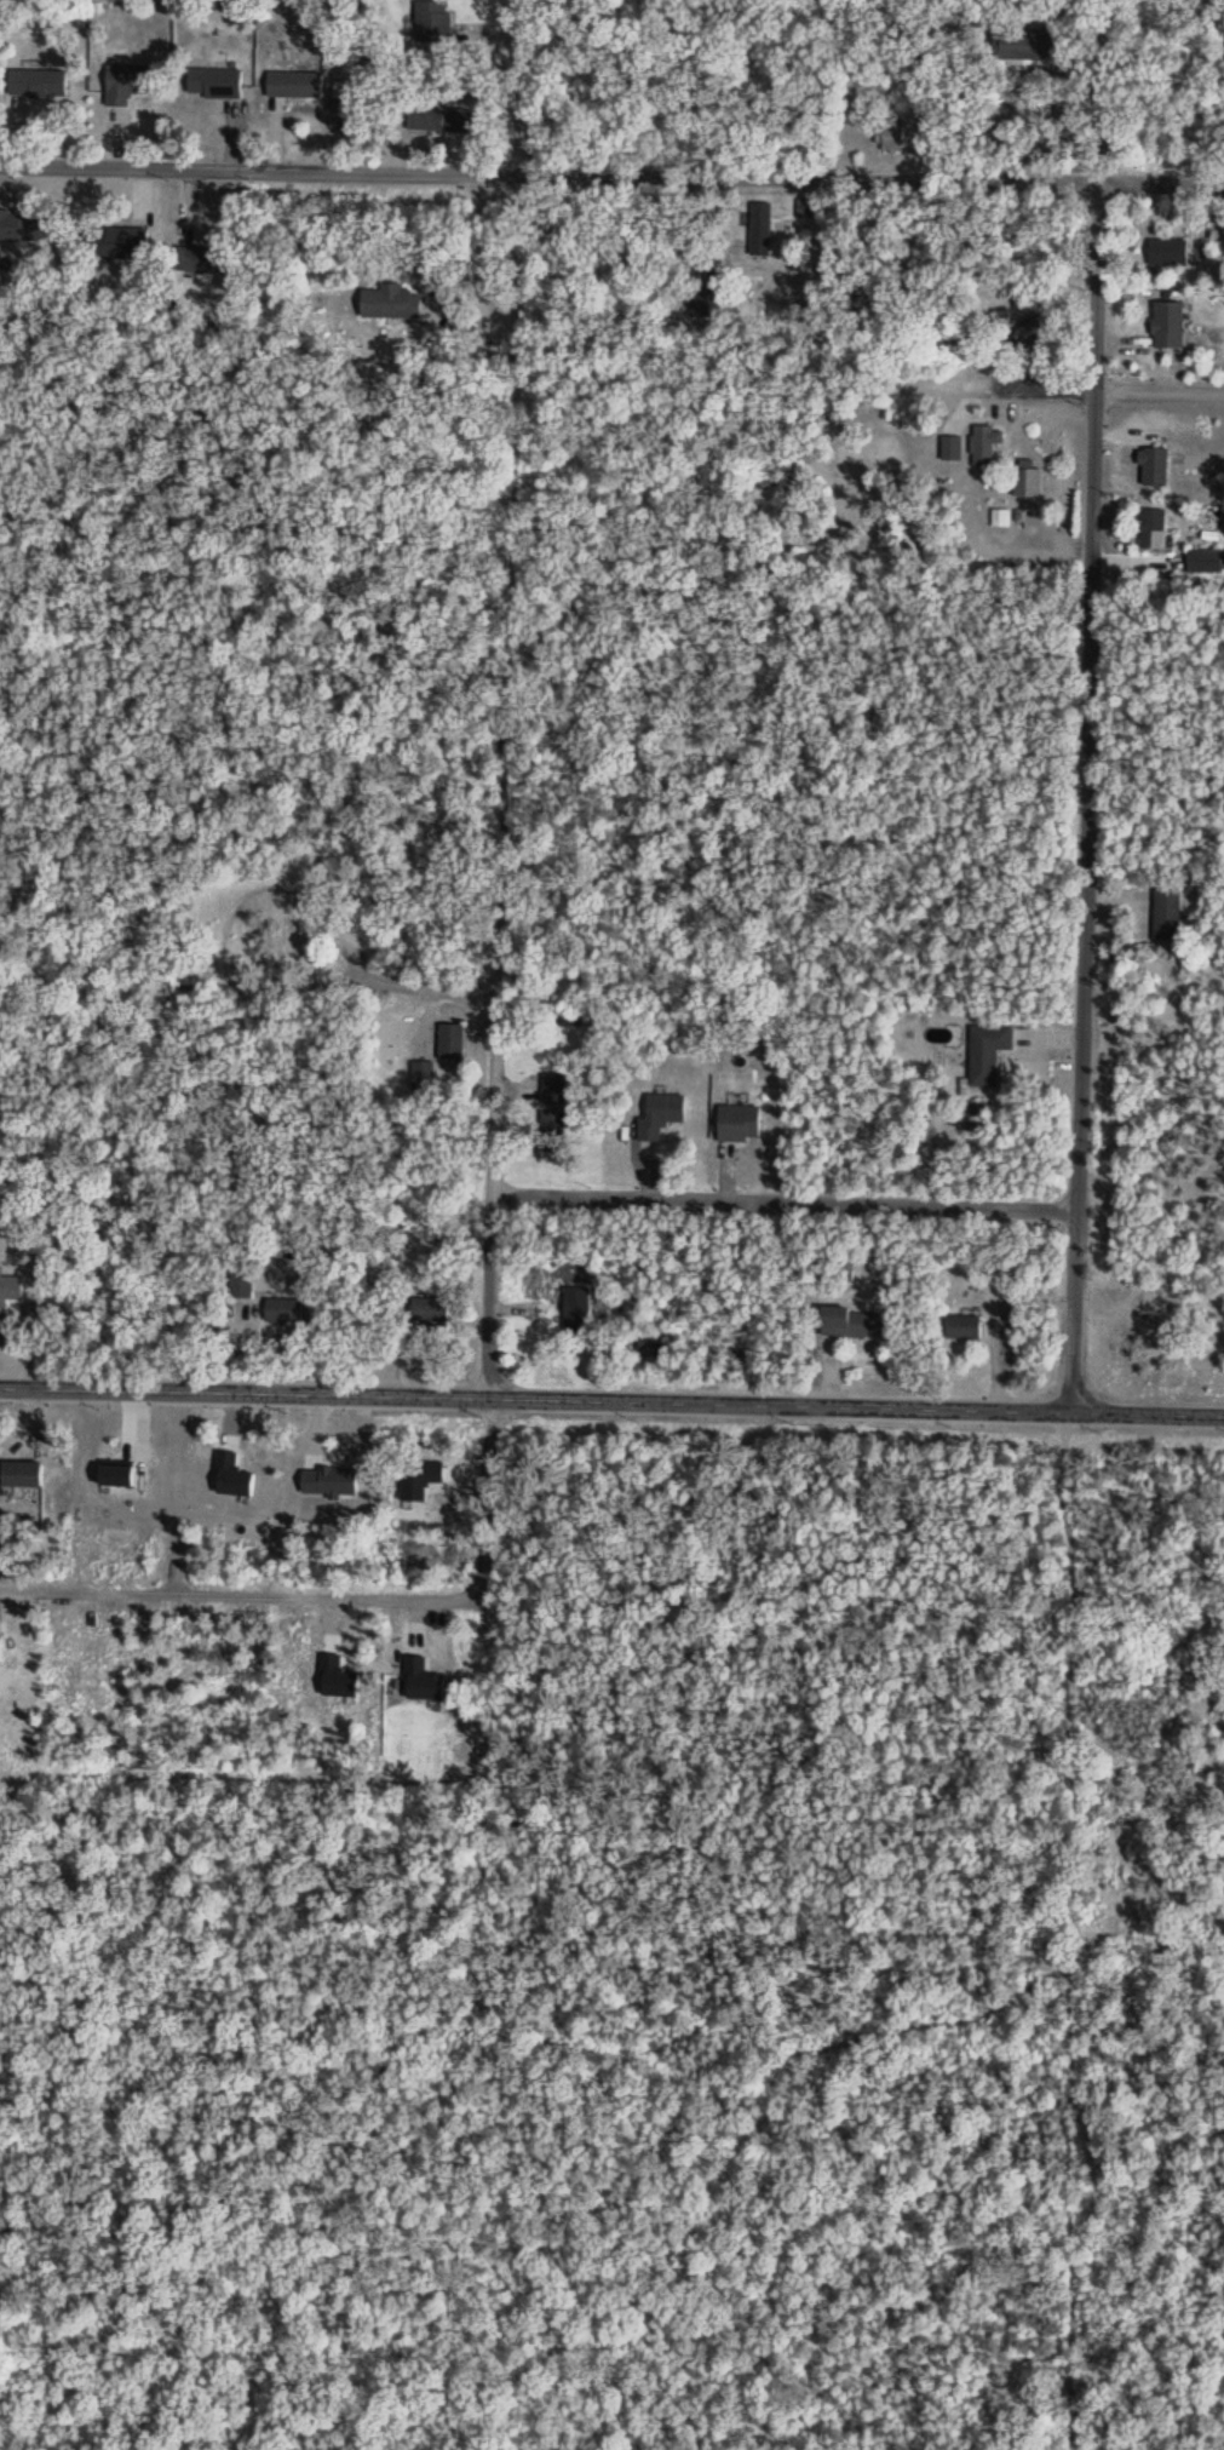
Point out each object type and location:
building: (432, 24)
building: (1022, 47)
road: (1007, 80)
building: (38, 86)
building: (125, 86)
building: (214, 87)
building: (294, 88)
road: (533, 88)
building: (439, 122)
building: (891, 138)
road: (611, 177)
building: (17, 229)
building: (760, 229)
building: (116, 242)
building: (1167, 254)
building: (191, 260)
building: (390, 304)
building: (1167, 327)
road: (1109, 395)
building: (985, 446)
building: (1153, 470)
building: (1025, 486)
building: (1153, 532)
building: (1205, 563)
road: (1085, 862)
road: (310, 896)
building: (1167, 913)
building: (450, 1043)
building: (987, 1056)
building: (660, 1118)
building: (552, 1126)
building: (739, 1126)
road: (789, 1209)
building: (240, 1286)
building: (11, 1293)
road: (499, 1297)
building: (576, 1307)
building: (282, 1313)
building: (429, 1314)
building: (851, 1325)
building: (962, 1331)
road: (611, 1404)
building: (22, 1479)
road: (241, 1600)

